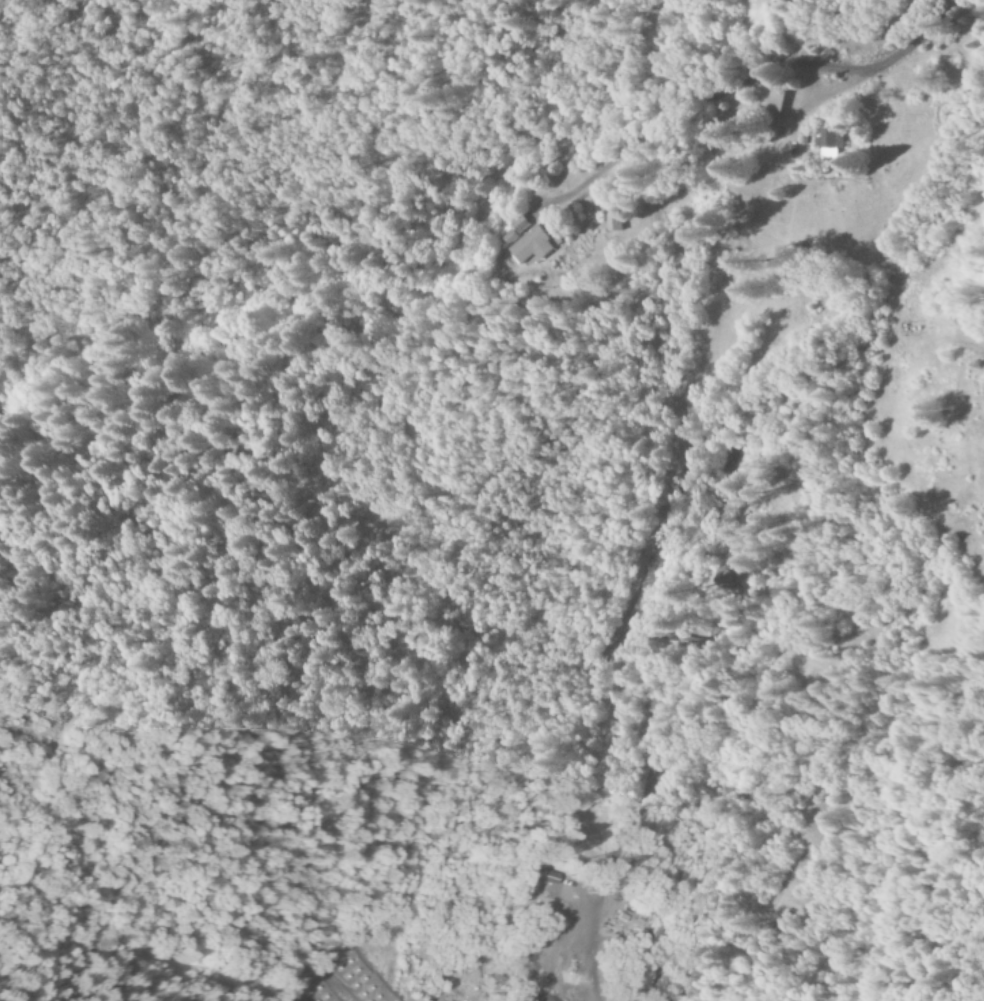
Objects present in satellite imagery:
building: (828, 144)
building: (613, 223)
building: (519, 225)
building: (526, 245)

